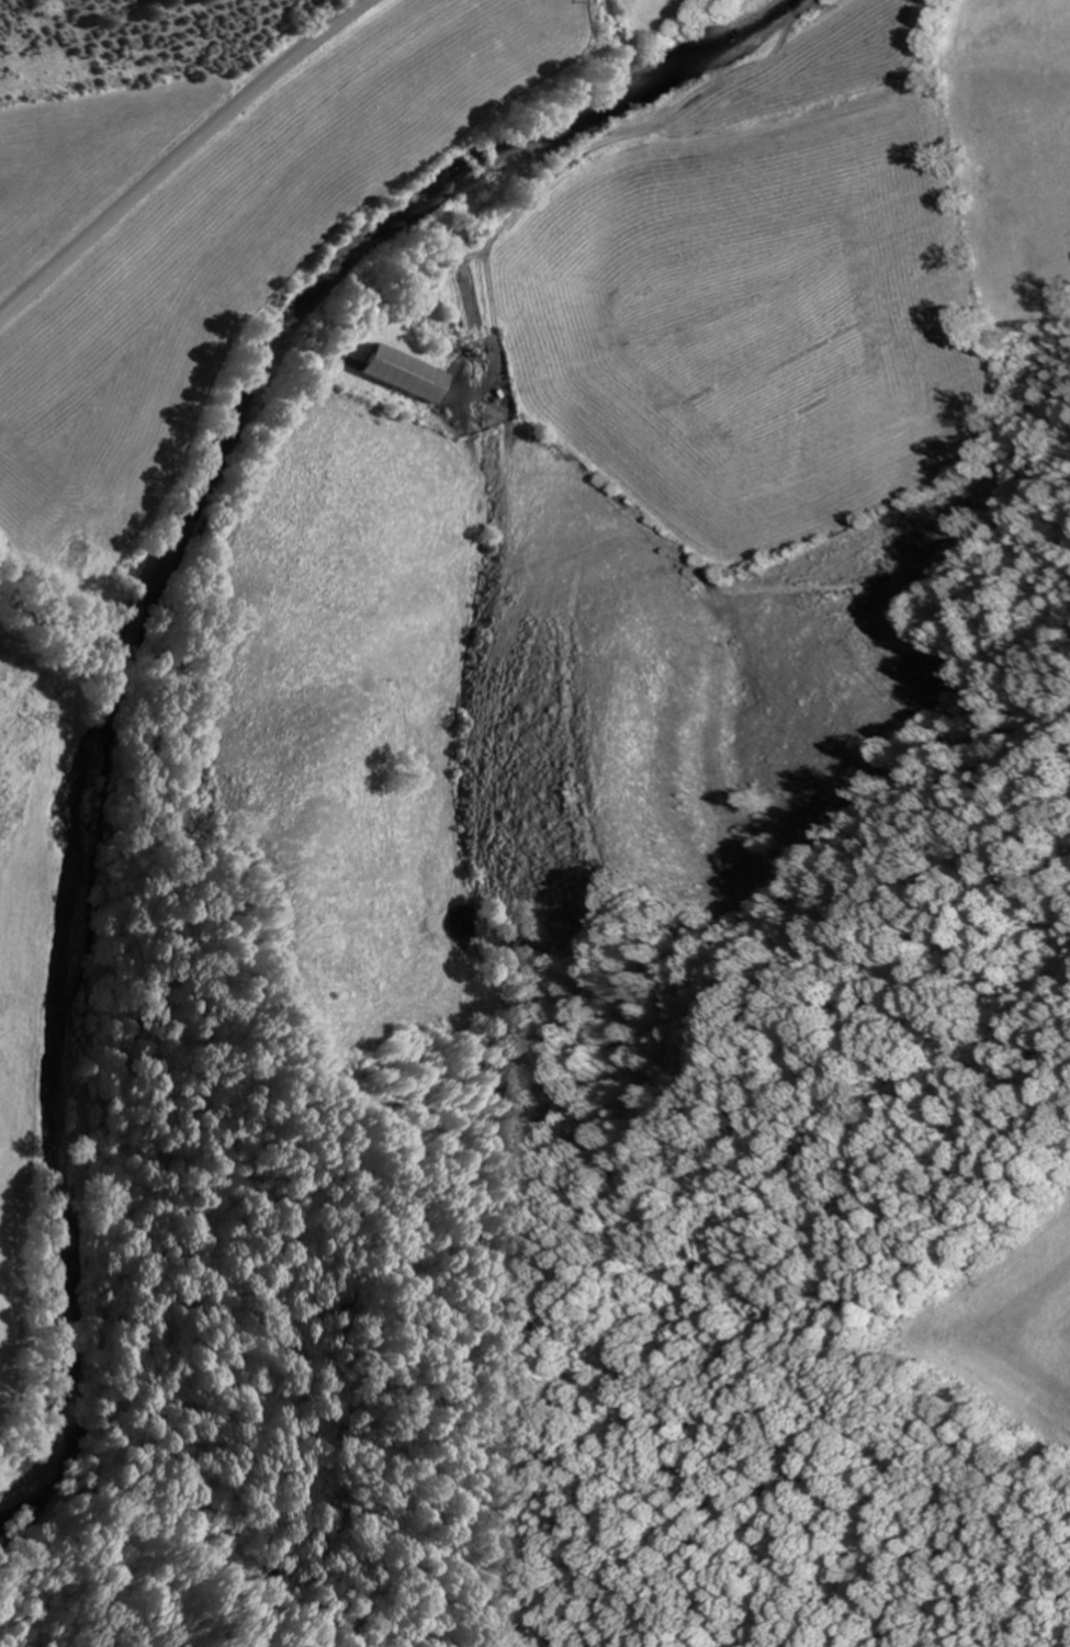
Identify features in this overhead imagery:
road: (181, 153)
building: (407, 373)

